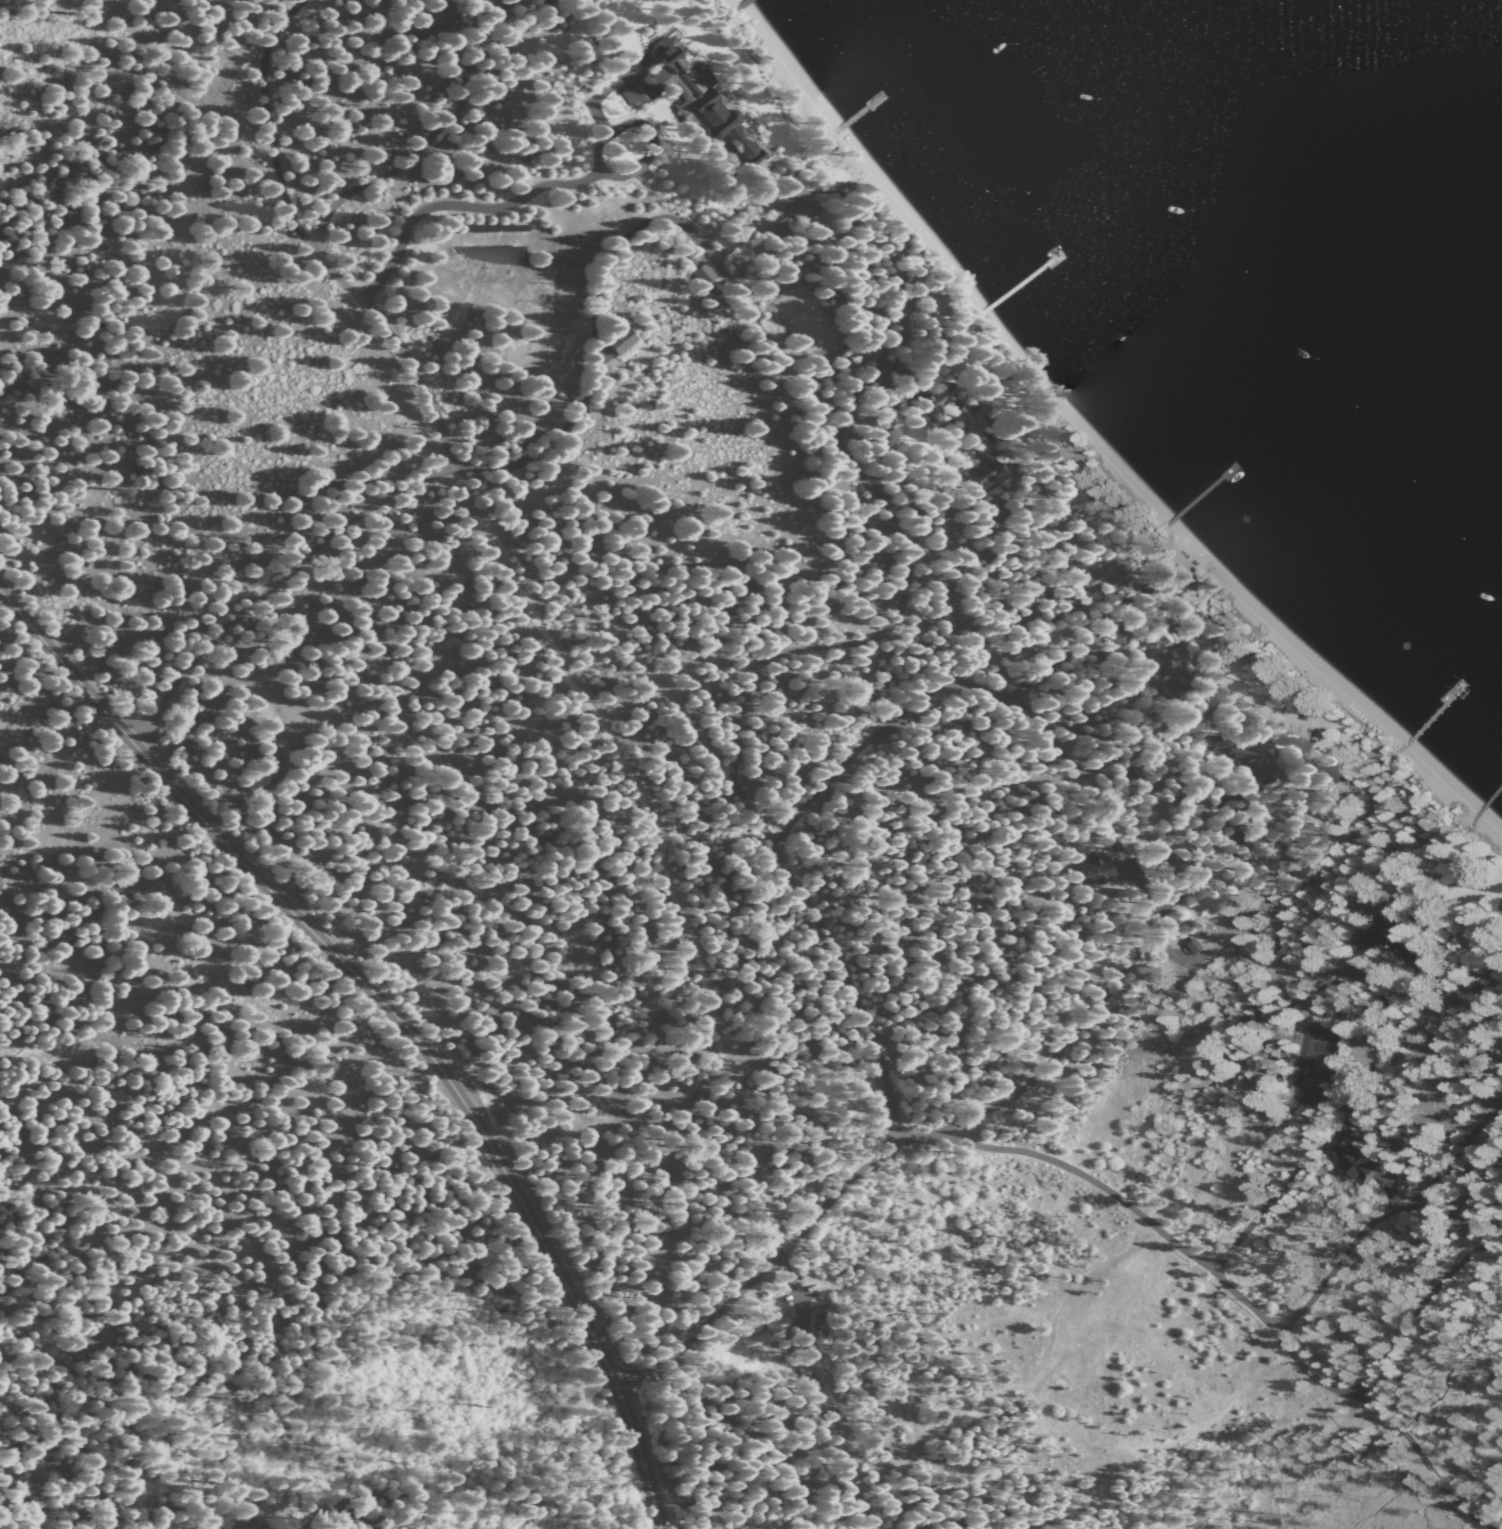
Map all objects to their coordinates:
pier: (743, 2)
building: (694, 100)
pier: (859, 112)
road: (266, 124)
road: (433, 137)
road: (496, 200)
building: (793, 205)
building: (701, 274)
pier: (1021, 280)
road: (594, 328)
building: (619, 340)
building: (984, 470)
pier: (1205, 491)
road: (371, 506)
building: (1109, 581)
road: (887, 629)
building: (1119, 637)
building: (1164, 656)
road: (1055, 680)
building: (1156, 682)
pier: (1434, 712)
road: (912, 715)
building: (1245, 760)
pier: (1489, 798)
building: (1092, 870)
road: (1211, 872)
road: (1153, 895)
building: (1393, 938)
building: (1191, 945)
road: (1202, 957)
road: (396, 1016)
road: (1051, 1071)
road: (1343, 1136)
road: (974, 1144)
road: (1392, 1159)
building: (1361, 1163)
road: (1385, 1221)
road: (761, 1269)
road: (793, 1291)
road: (1415, 1302)
building: (764, 1334)
road: (269, 1355)
road: (1421, 1463)

